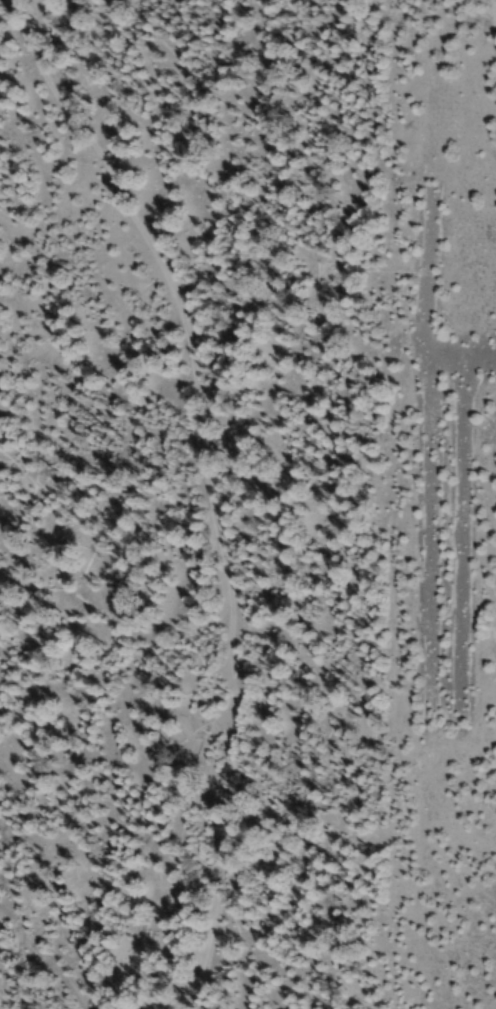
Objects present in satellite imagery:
road: (212, 498)
road: (87, 861)

